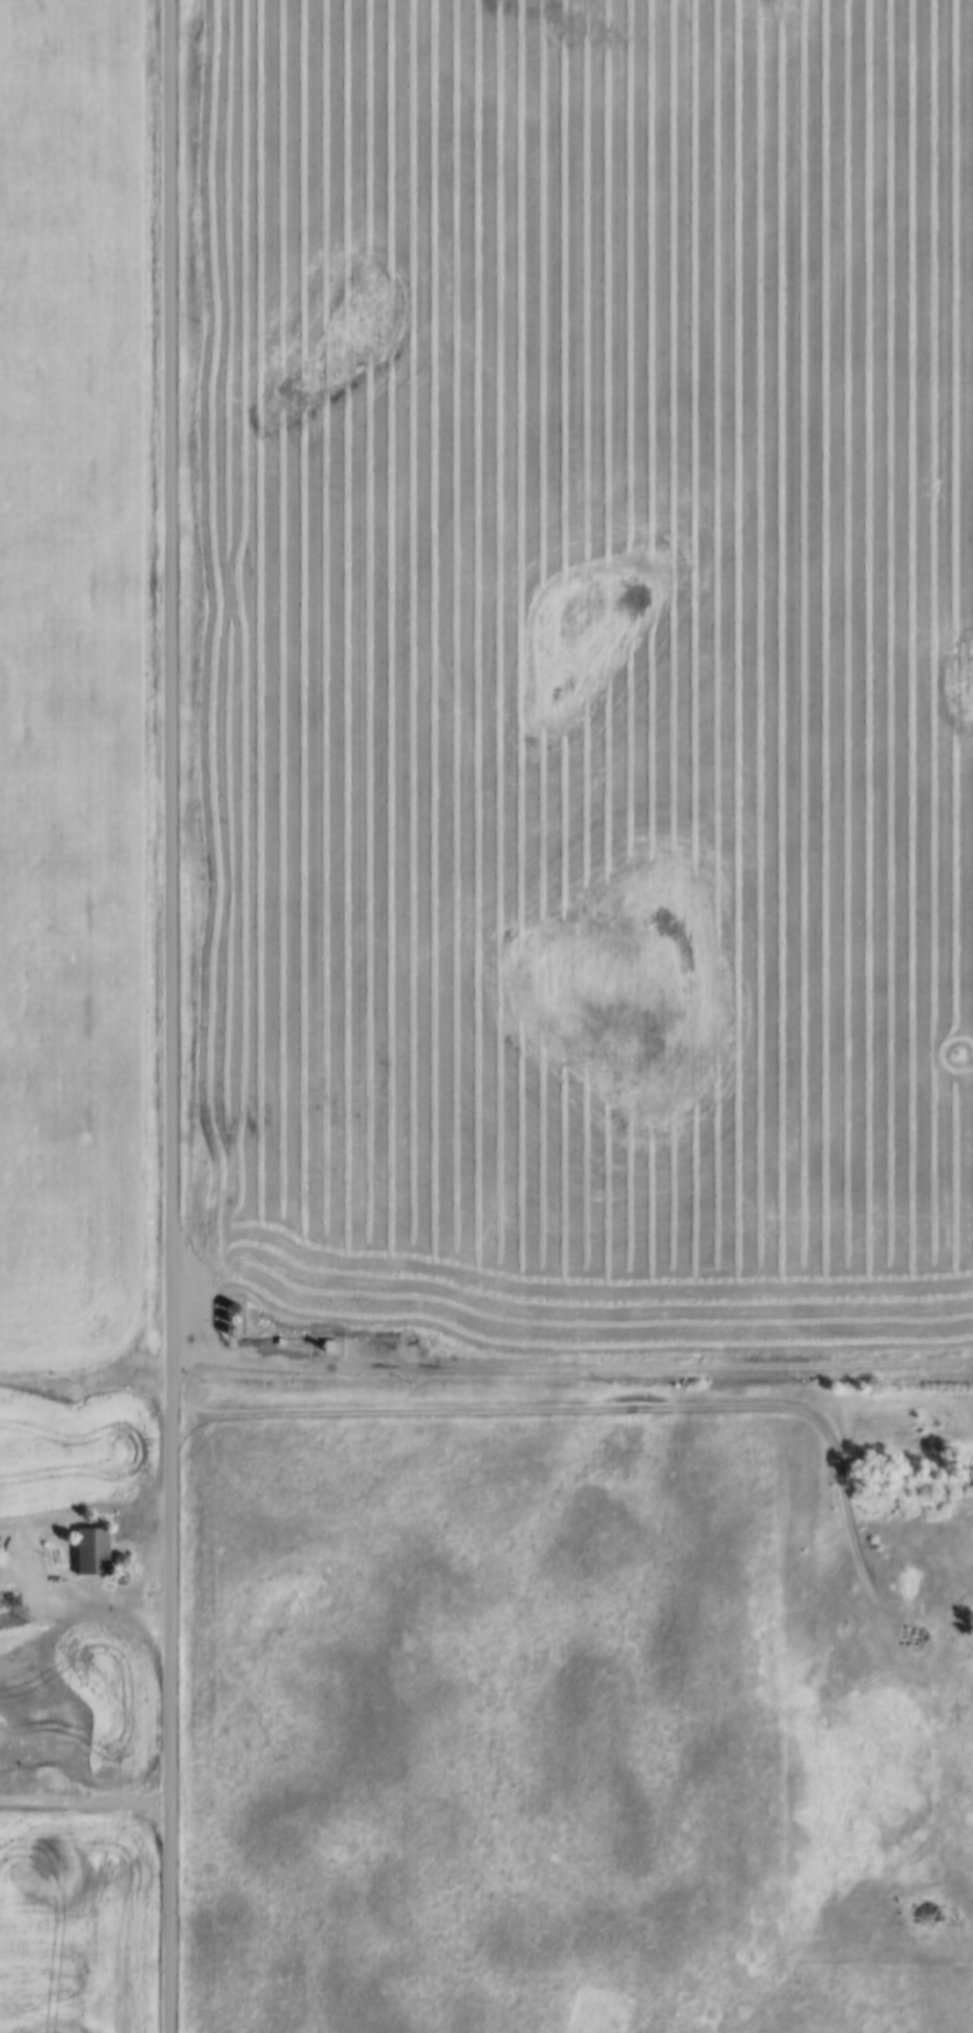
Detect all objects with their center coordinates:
road: (169, 1016)
road: (571, 1368)
road: (591, 1410)
building: (114, 1517)
building: (85, 1539)
building: (113, 1565)
silo: (113, 1565)
road: (81, 1797)

